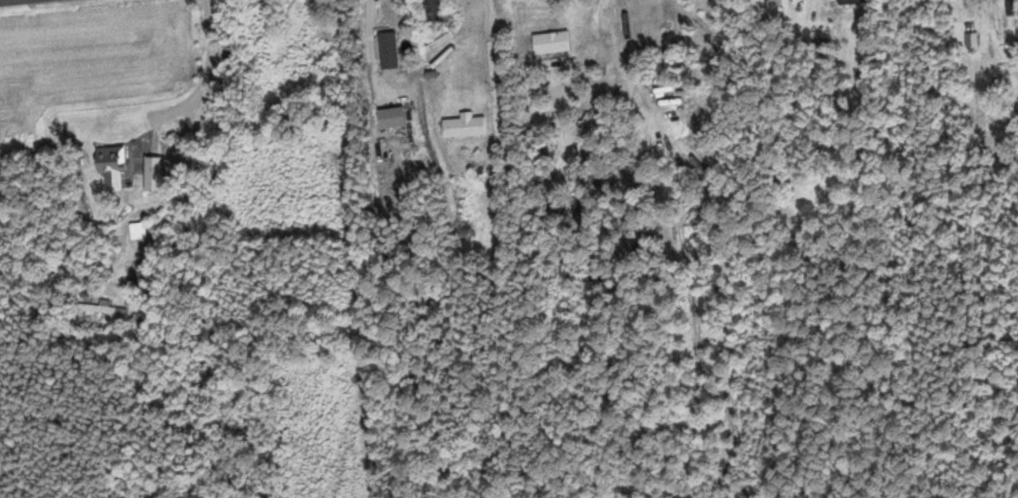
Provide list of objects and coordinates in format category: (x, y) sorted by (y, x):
building: (433, 8)
building: (551, 41)
building: (464, 124)
building: (111, 159)
building: (136, 231)
building: (104, 307)

